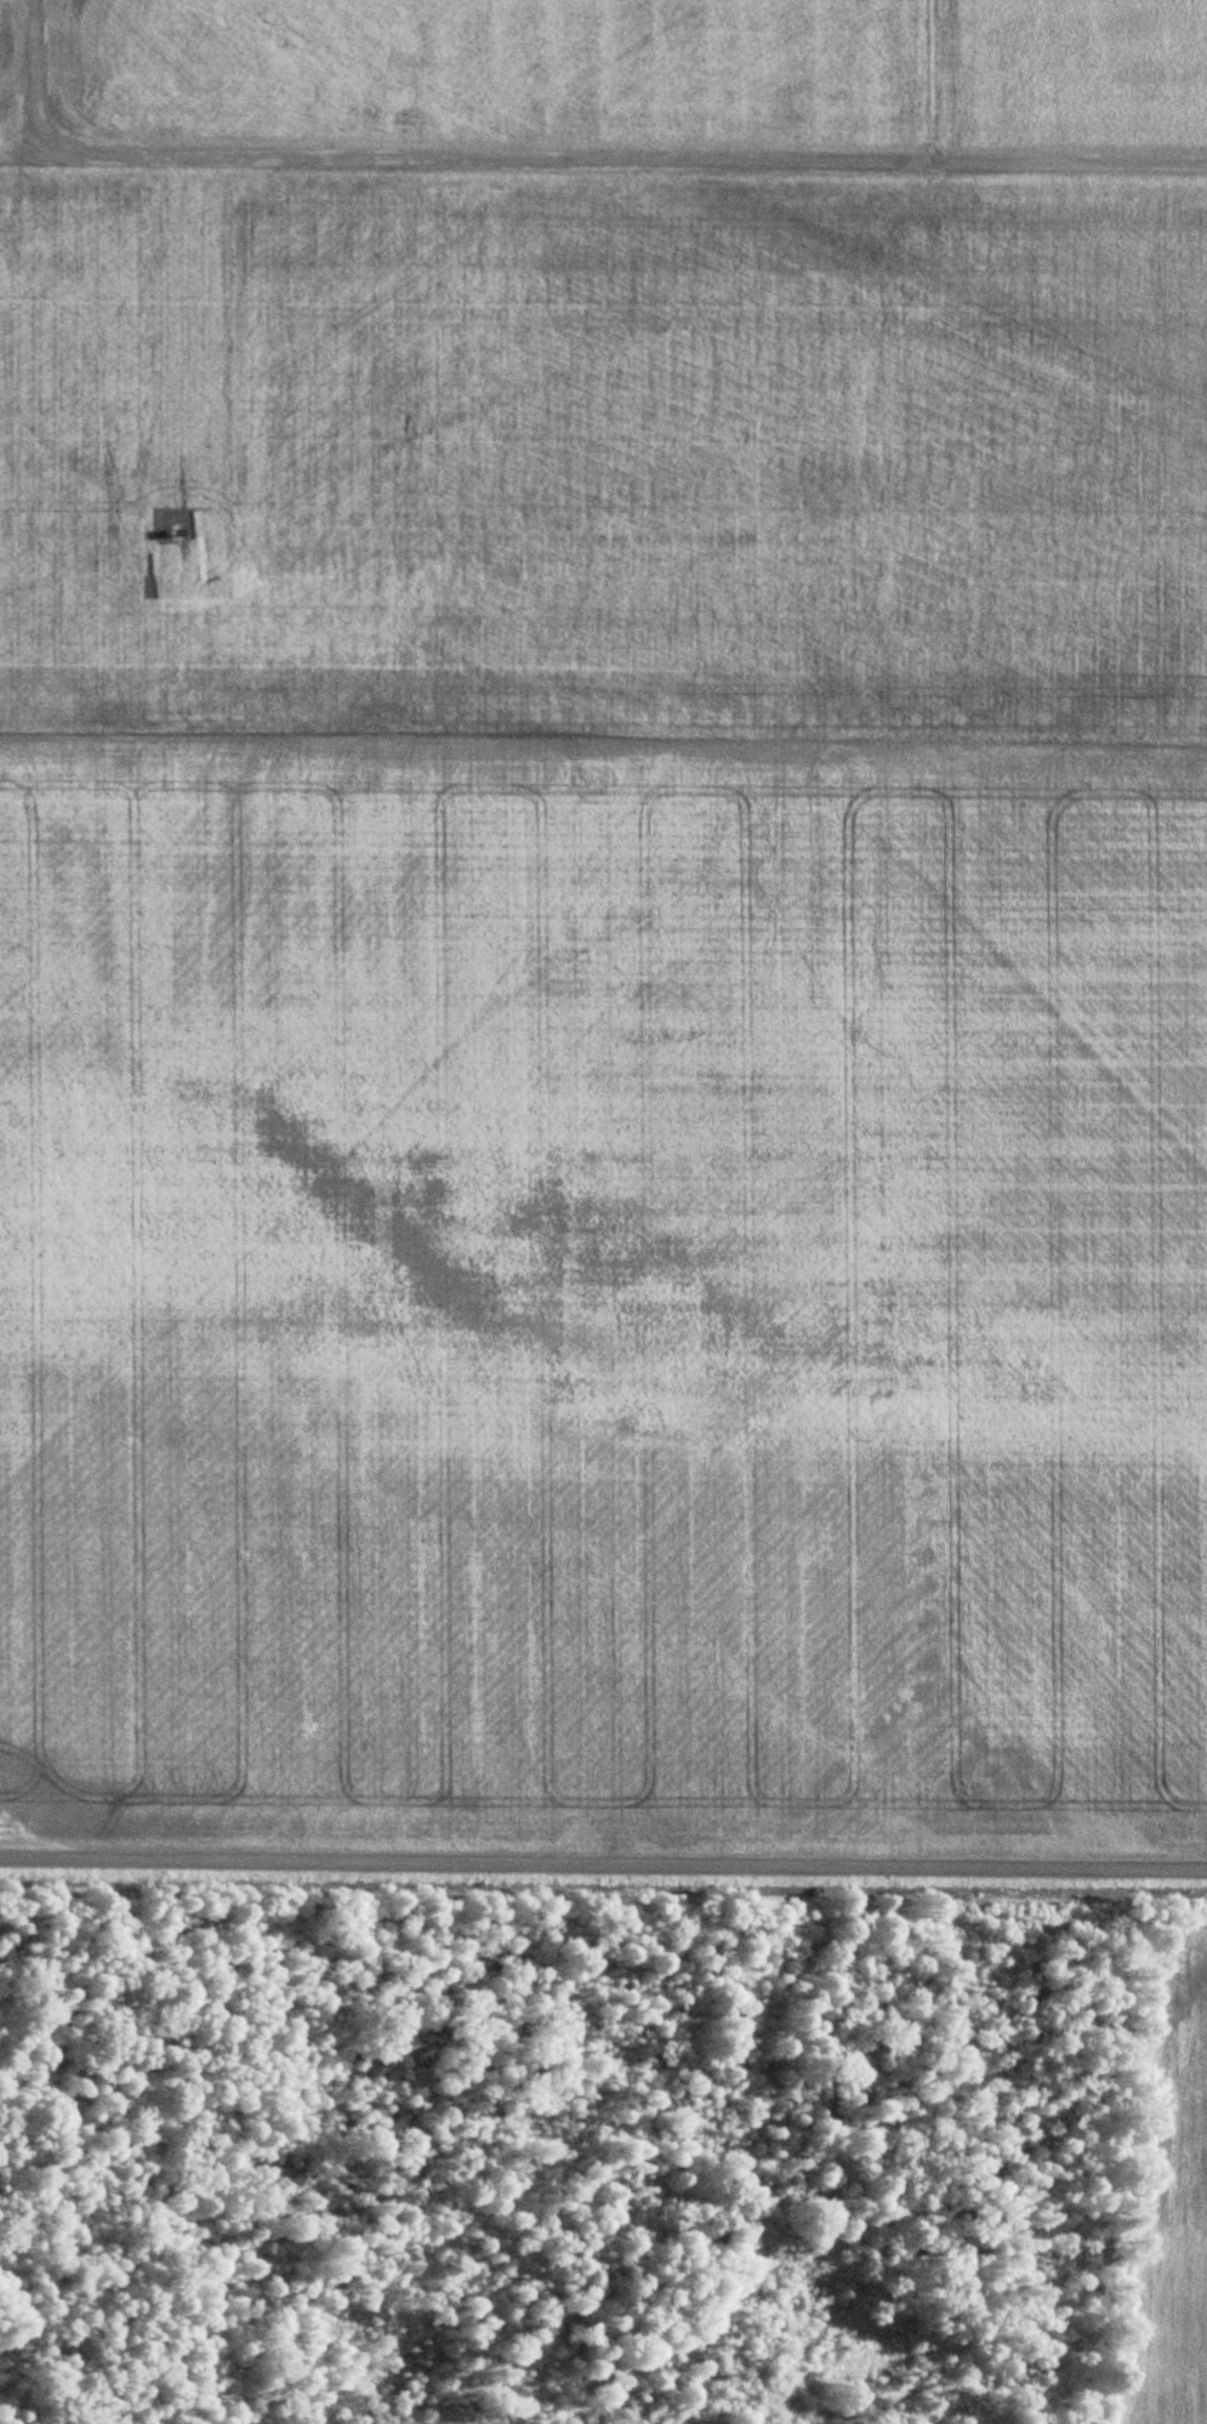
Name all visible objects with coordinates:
road: (603, 1867)

